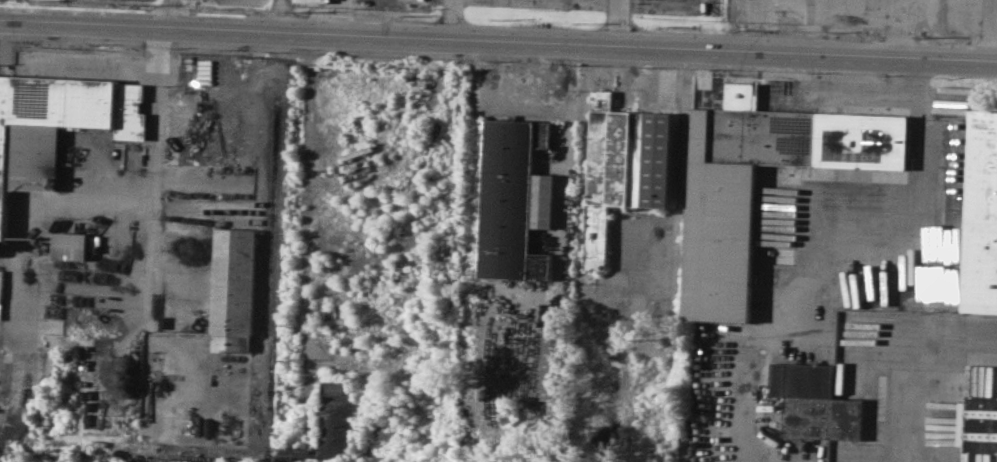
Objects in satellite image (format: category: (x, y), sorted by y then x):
road: (13, 10)
road: (169, 14)
road: (994, 14)
road: (278, 16)
road: (451, 20)
road: (617, 24)
road: (942, 31)
road: (989, 32)
road: (498, 42)
building: (56, 125)
road: (924, 141)
building: (624, 163)
road: (305, 196)
building: (512, 200)
building: (544, 200)
building: (982, 215)
building: (720, 243)
building: (71, 245)
building: (233, 288)
building: (554, 365)
road: (918, 375)
building: (815, 401)
building: (978, 423)
building: (331, 426)

